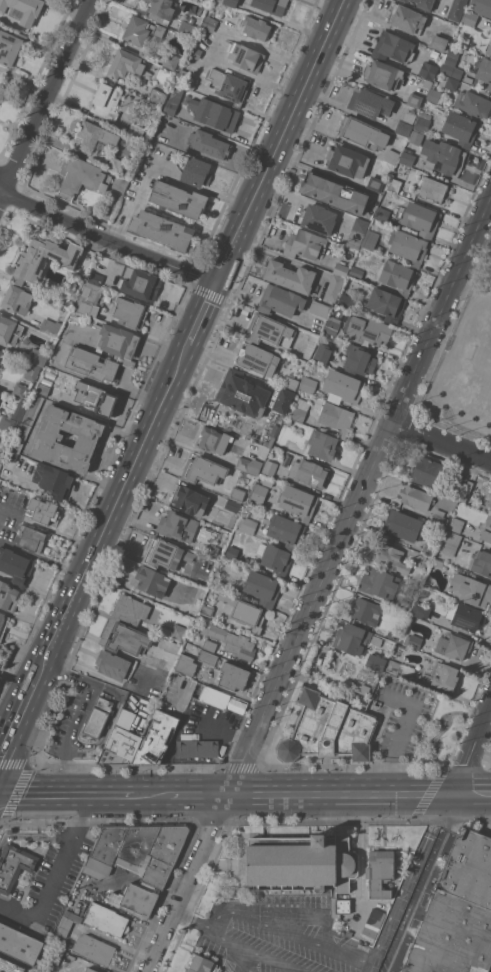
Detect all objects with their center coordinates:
building: (405, 0)
building: (229, 2)
building: (425, 4)
building: (271, 5)
building: (481, 6)
building: (25, 9)
building: (456, 9)
building: (161, 10)
building: (469, 17)
building: (407, 18)
building: (209, 23)
building: (256, 27)
building: (187, 28)
building: (141, 30)
building: (439, 42)
building: (10, 46)
building: (392, 47)
building: (489, 49)
building: (196, 53)
building: (245, 56)
building: (170, 59)
building: (450, 60)
building: (125, 64)
building: (480, 69)
building: (427, 70)
building: (457, 72)
building: (383, 74)
building: (192, 81)
building: (449, 82)
building: (427, 83)
building: (228, 85)
road: (48, 91)
building: (157, 95)
building: (435, 96)
building: (415, 100)
building: (107, 101)
building: (370, 103)
building: (474, 104)
building: (173, 106)
building: (213, 114)
building: (405, 123)
building: (422, 124)
building: (460, 128)
building: (136, 130)
building: (362, 133)
building: (95, 136)
building: (416, 137)
road: (277, 140)
building: (209, 144)
building: (392, 154)
building: (443, 157)
building: (406, 158)
building: (347, 161)
building: (115, 163)
building: (196, 171)
building: (82, 177)
building: (120, 182)
building: (375, 183)
building: (394, 185)
road: (3, 190)
building: (431, 190)
road: (18, 191)
building: (334, 192)
building: (178, 199)
road: (490, 203)
road: (18, 205)
building: (382, 214)
building: (318, 218)
building: (420, 219)
building: (161, 229)
building: (356, 232)
building: (370, 239)
road: (125, 243)
building: (304, 244)
building: (408, 246)
building: (43, 259)
building: (490, 264)
building: (341, 270)
building: (356, 272)
building: (290, 276)
building: (398, 276)
building: (95, 278)
traffic signals: (213, 281)
building: (140, 283)
building: (334, 288)
building: (88, 298)
building: (17, 299)
building: (280, 300)
building: (347, 300)
building: (327, 302)
building: (386, 304)
building: (320, 309)
building: (130, 312)
road: (198, 313)
building: (332, 325)
building: (51, 326)
building: (8, 328)
building: (367, 328)
building: (270, 330)
building: (121, 351)
building: (1, 352)
building: (323, 352)
building: (38, 356)
building: (258, 359)
building: (358, 360)
building: (32, 371)
building: (288, 382)
building: (308, 384)
building: (343, 387)
building: (19, 389)
building: (42, 389)
building: (243, 393)
building: (90, 397)
building: (283, 400)
building: (320, 400)
building: (300, 409)
building: (19, 411)
building: (336, 417)
building: (287, 421)
building: (7, 423)
building: (24, 427)
building: (270, 434)
building: (87, 439)
building: (214, 439)
road: (441, 441)
building: (322, 444)
building: (1, 457)
building: (249, 465)
building: (270, 468)
building: (204, 470)
building: (309, 473)
building: (437, 475)
building: (53, 480)
building: (466, 491)
building: (258, 493)
building: (237, 494)
road: (359, 497)
building: (415, 497)
building: (190, 500)
building: (298, 502)
building: (234, 506)
building: (44, 510)
road: (109, 510)
building: (438, 514)
building: (456, 524)
building: (247, 525)
building: (177, 526)
building: (401, 526)
building: (486, 529)
building: (286, 531)
building: (32, 539)
building: (450, 543)
building: (213, 548)
building: (430, 548)
building: (232, 552)
building: (165, 554)
building: (389, 557)
building: (275, 560)
building: (437, 562)
building: (425, 563)
building: (481, 563)
building: (16, 566)
building: (150, 581)
building: (379, 583)
building: (263, 588)
building: (470, 589)
building: (8, 596)
building: (404, 606)
building: (193, 608)
building: (206, 610)
building: (420, 610)
building: (243, 611)
building: (366, 611)
building: (468, 617)
building: (3, 624)
building: (126, 626)
building: (178, 631)
building: (390, 635)
building: (355, 639)
building: (413, 641)
building: (234, 642)
building: (209, 645)
building: (453, 645)
building: (208, 657)
building: (376, 661)
building: (112, 664)
building: (186, 664)
building: (398, 669)
road: (66, 674)
building: (444, 675)
building: (233, 676)
building: (0, 677)
building: (0, 678)
building: (359, 687)
building: (210, 695)
road: (23, 698)
building: (98, 717)
building: (329, 727)
road: (3, 733)
road: (6, 735)
road: (400, 735)
road: (69, 738)
building: (156, 738)
building: (121, 742)
building: (196, 747)
road: (474, 752)
road: (65, 794)
road: (150, 795)
road: (199, 795)
road: (360, 795)
building: (142, 849)
building: (302, 861)
building: (14, 865)
building: (97, 867)
building: (380, 873)
road: (54, 875)
road: (189, 883)
road: (406, 883)
road: (429, 883)
building: (135, 900)
building: (342, 906)
building: (458, 912)
building: (74, 916)
building: (107, 919)
building: (373, 922)
building: (64, 926)
road: (286, 932)
road: (241, 943)
building: (19, 944)
road: (231, 948)
building: (94, 949)
building: (52, 959)
building: (201, 964)
building: (10, 966)
building: (90, 970)

